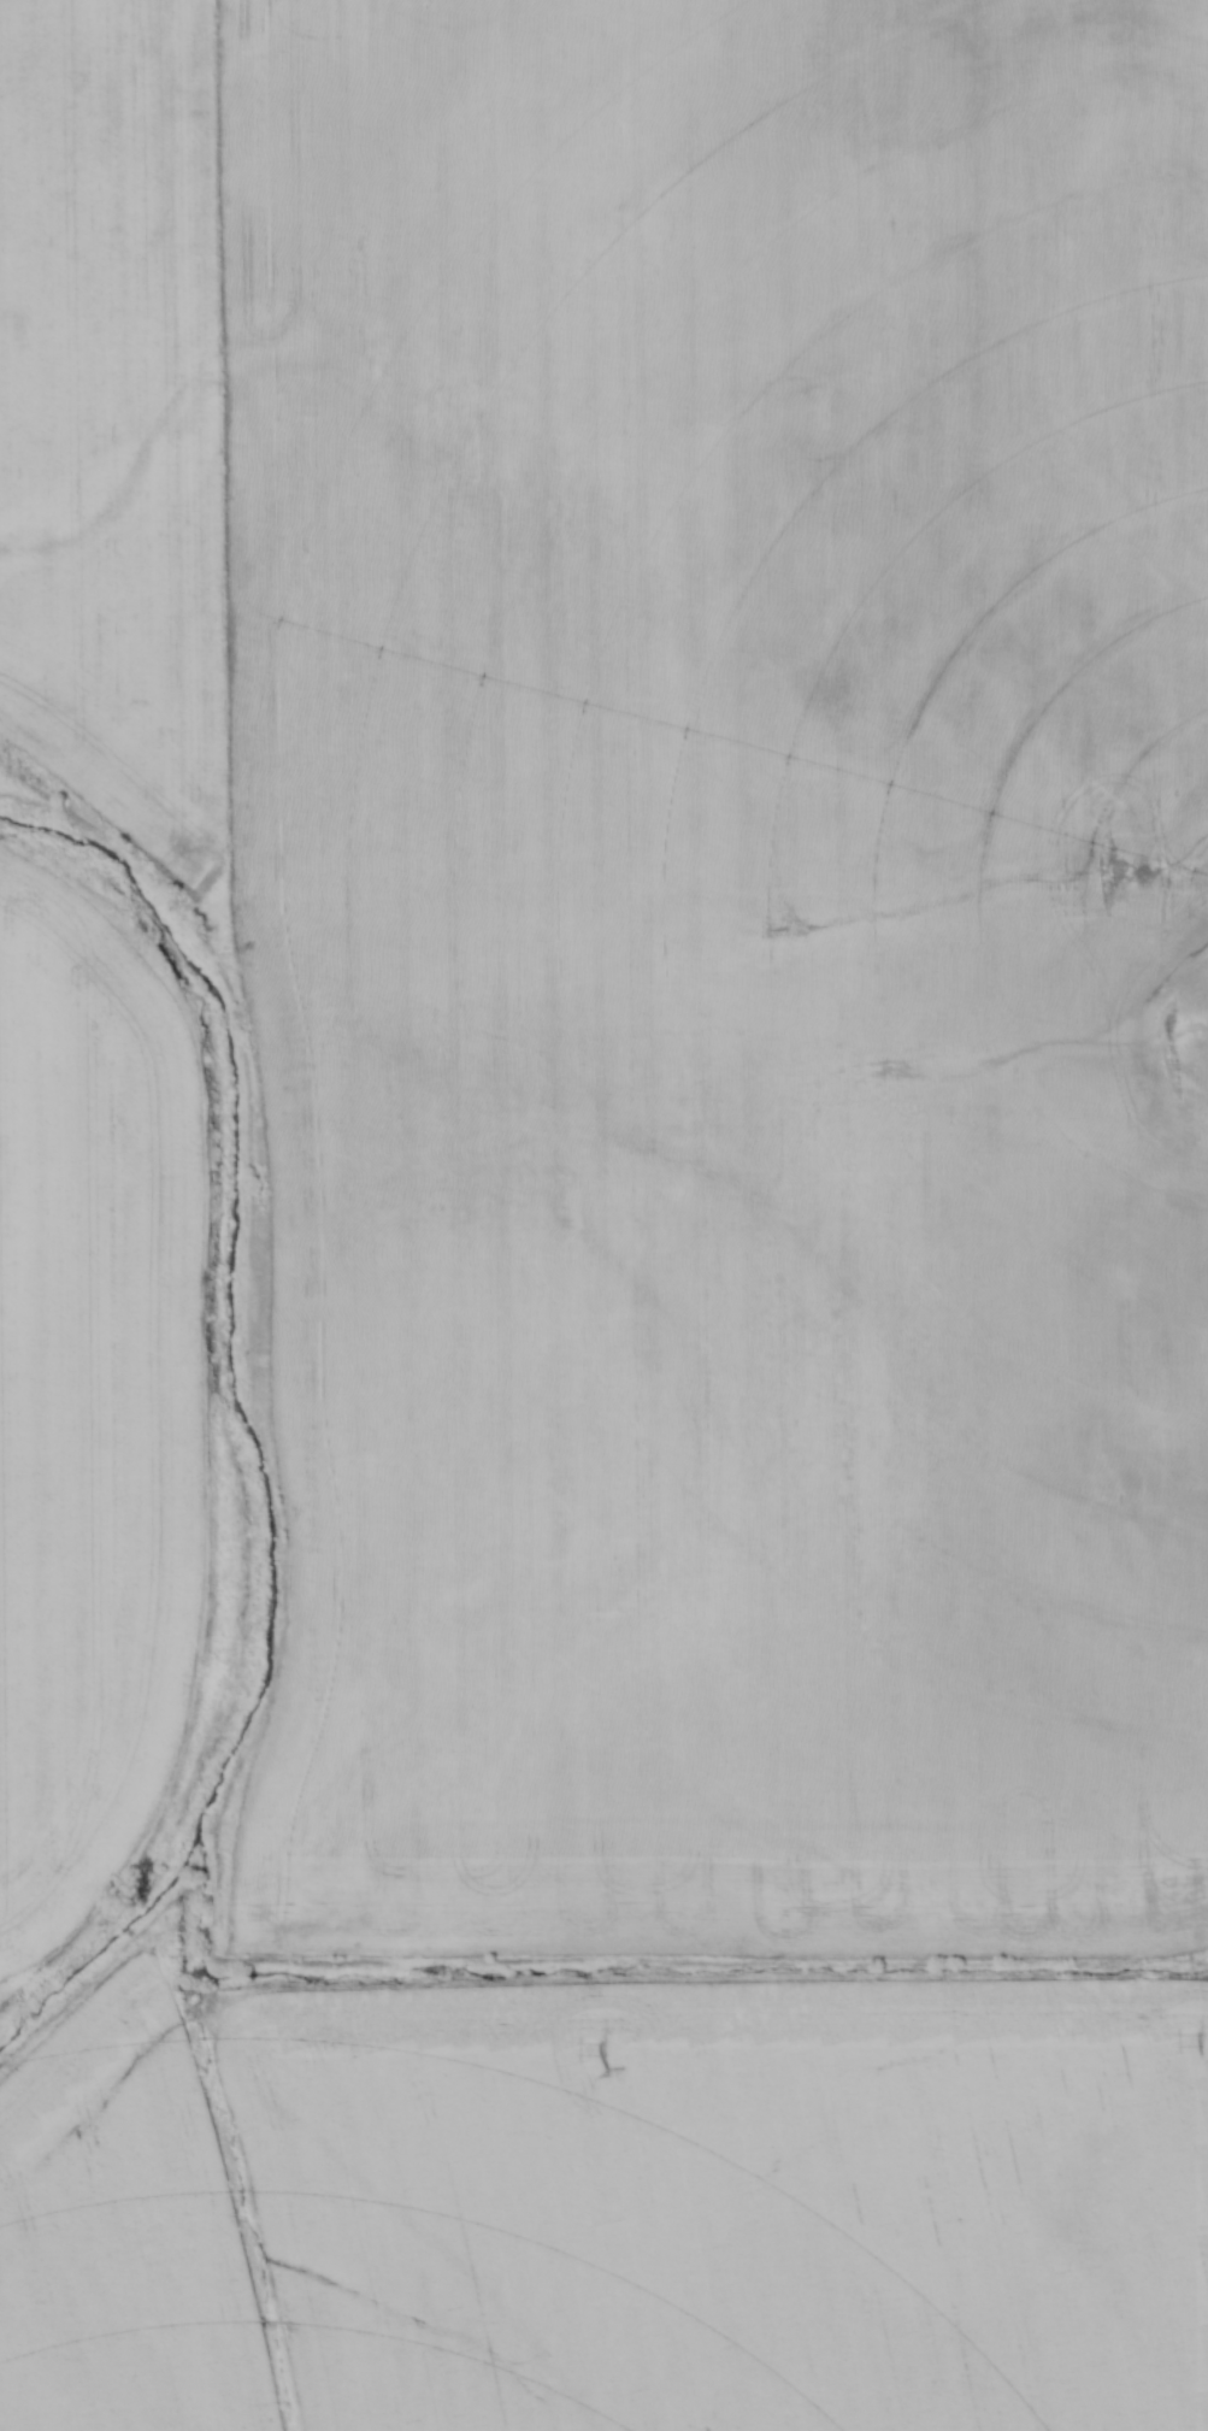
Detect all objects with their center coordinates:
river: (231, 1429)
power tower: (1201, 2039)
power tower: (603, 2049)

